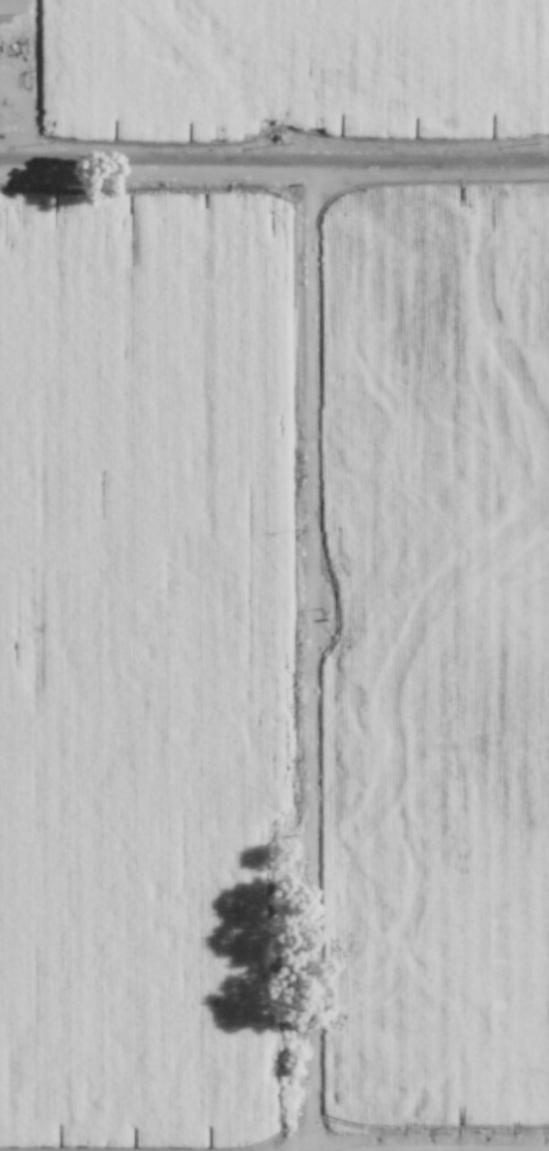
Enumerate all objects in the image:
crop: (274, 63)
road: (274, 156)
crop: (274, 661)
crop: (468, 1150)

